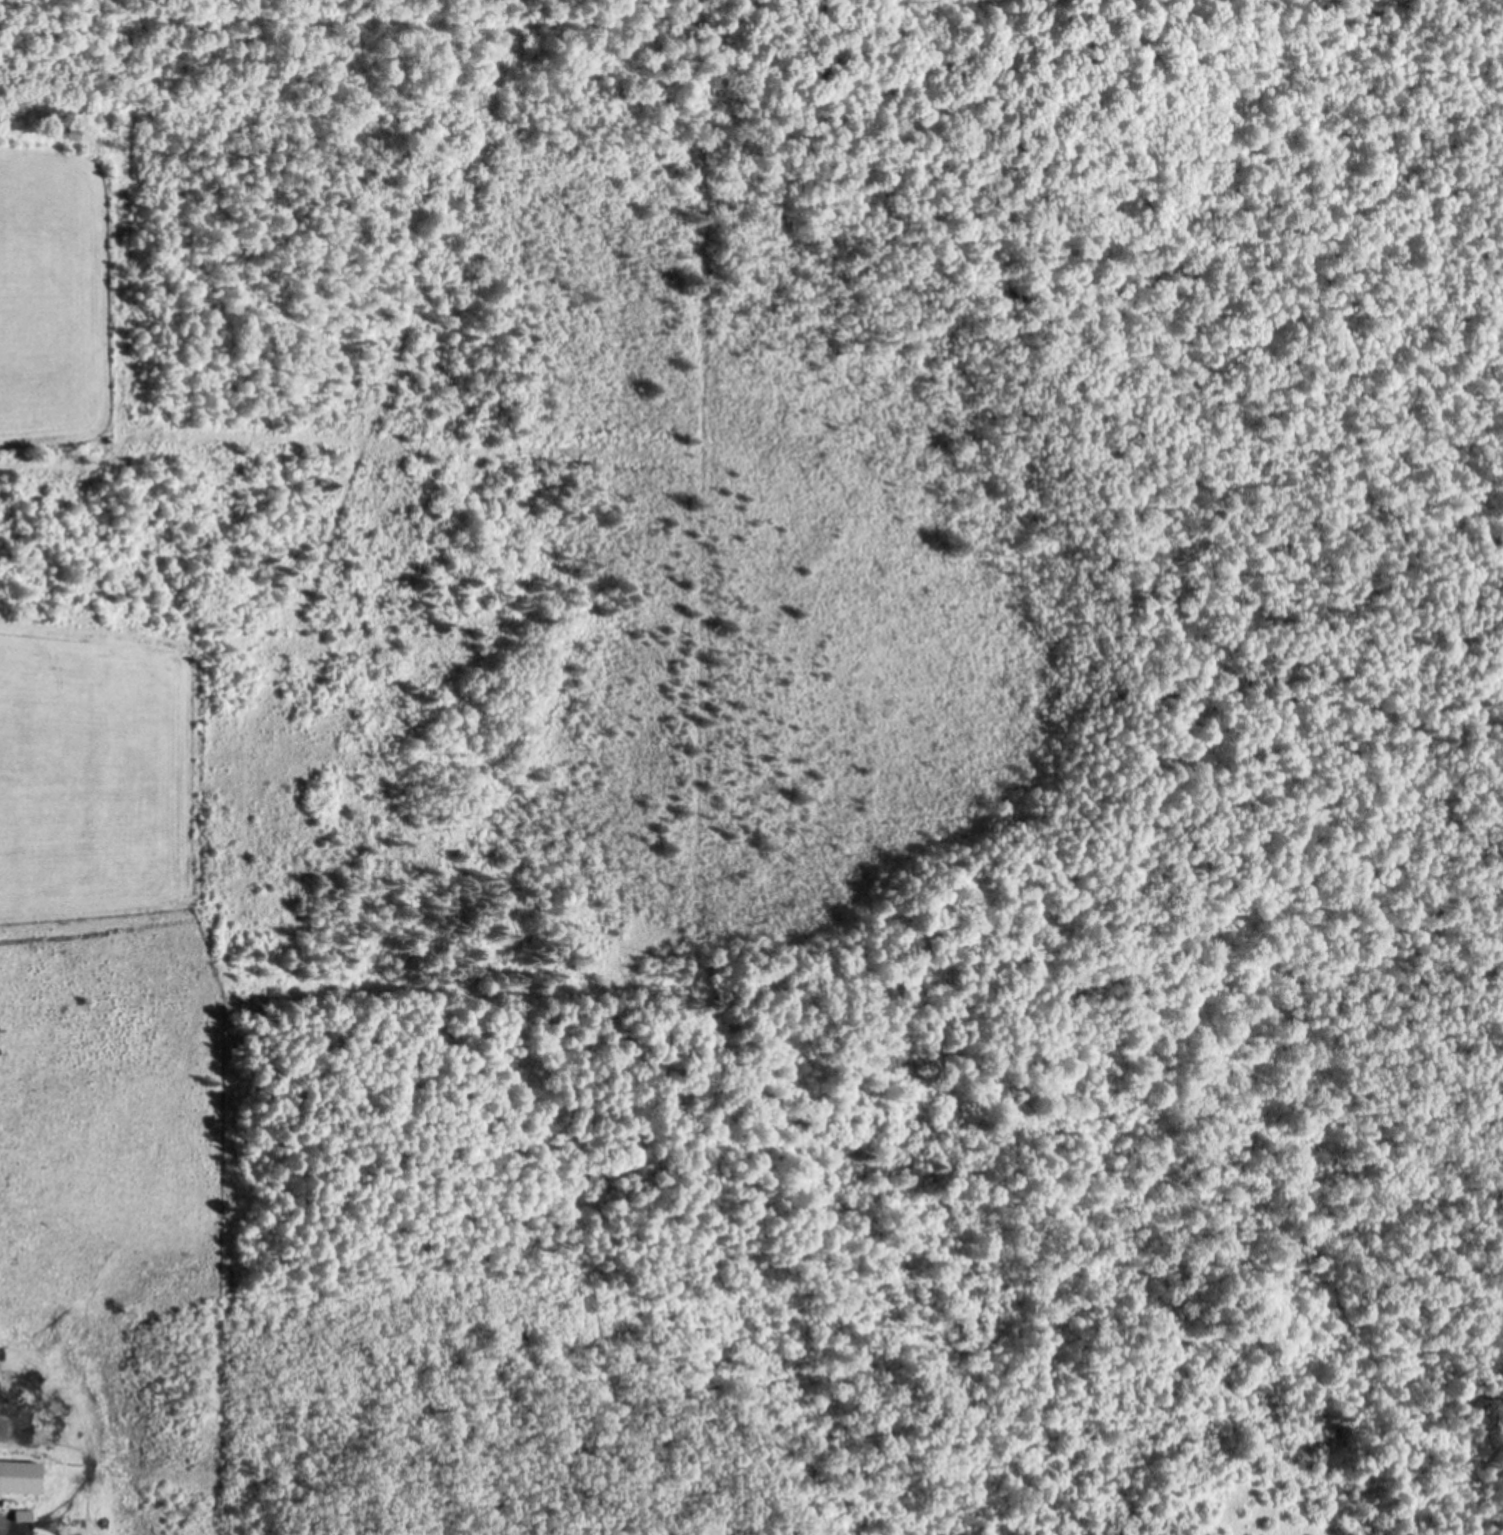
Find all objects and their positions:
building: (22, 1476)

